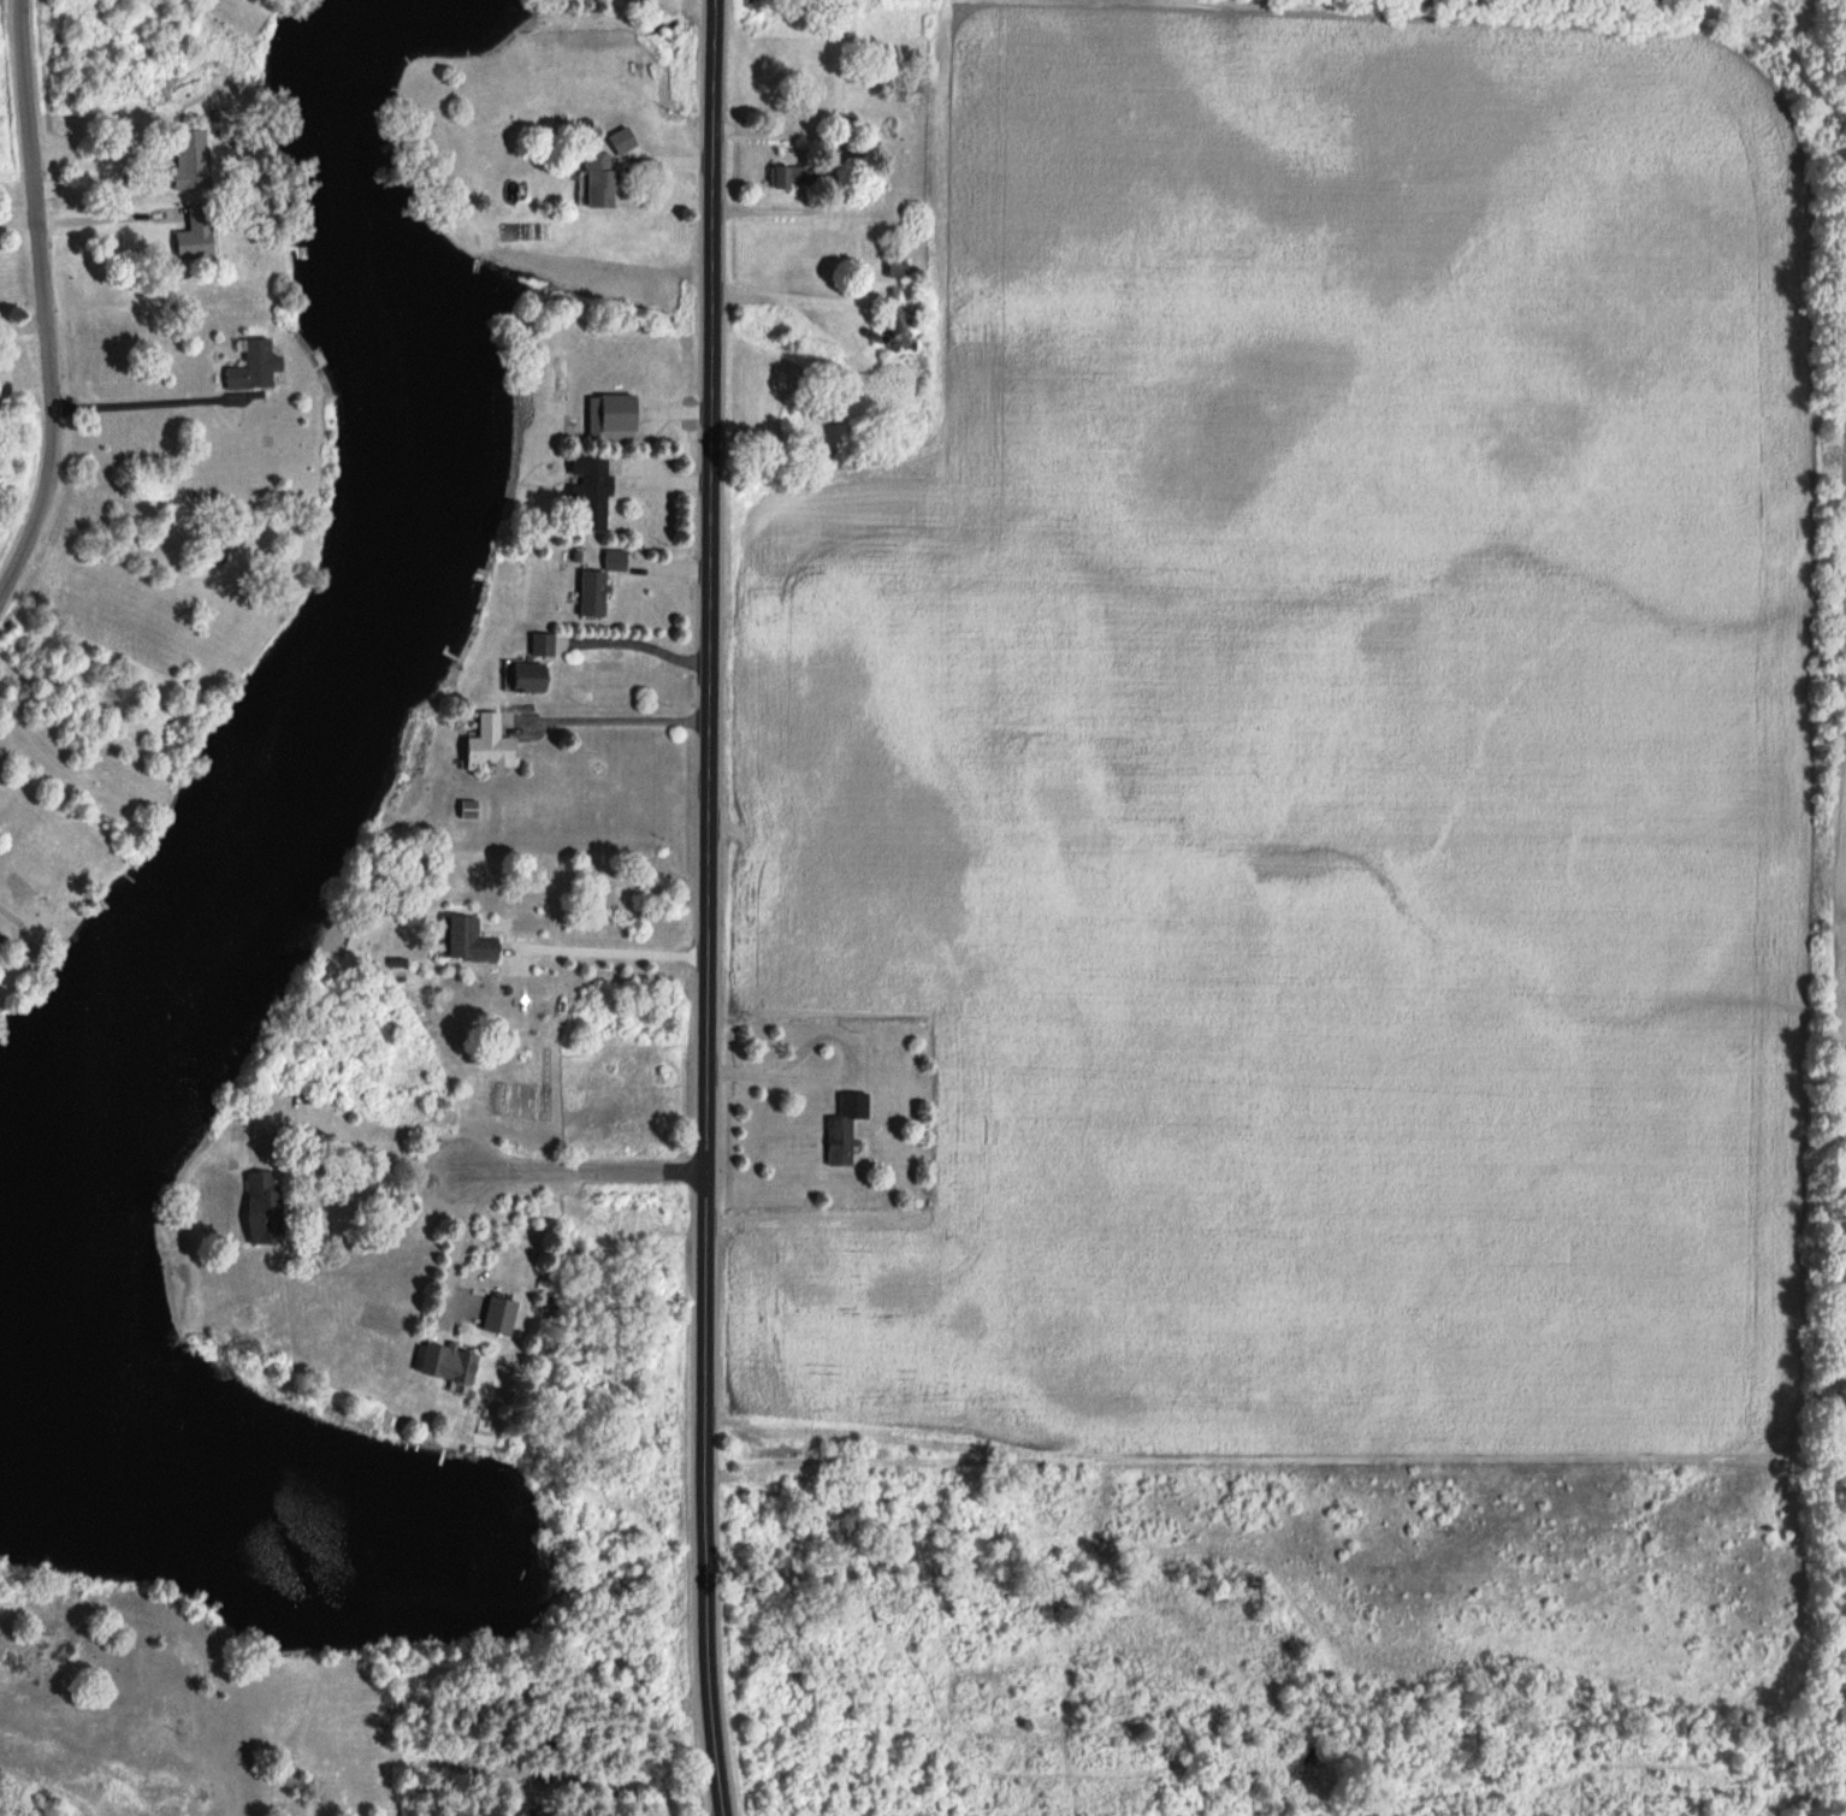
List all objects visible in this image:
building: (838, 122)
building: (185, 158)
building: (792, 177)
building: (597, 179)
road: (105, 218)
building: (190, 232)
building: (895, 268)
road: (46, 304)
building: (901, 326)
building: (249, 367)
road: (179, 401)
building: (588, 495)
building: (611, 560)
building: (588, 593)
road: (640, 644)
building: (538, 645)
building: (523, 678)
road: (615, 717)
building: (485, 745)
building: (466, 810)
road: (709, 907)
building: (465, 941)
road: (611, 950)
road: (834, 1075)
building: (844, 1126)
road: (355, 1146)
road: (588, 1171)
building: (259, 1206)
road: (460, 1242)
building: (443, 1365)
building: (795, 1456)
building: (531, 1810)

